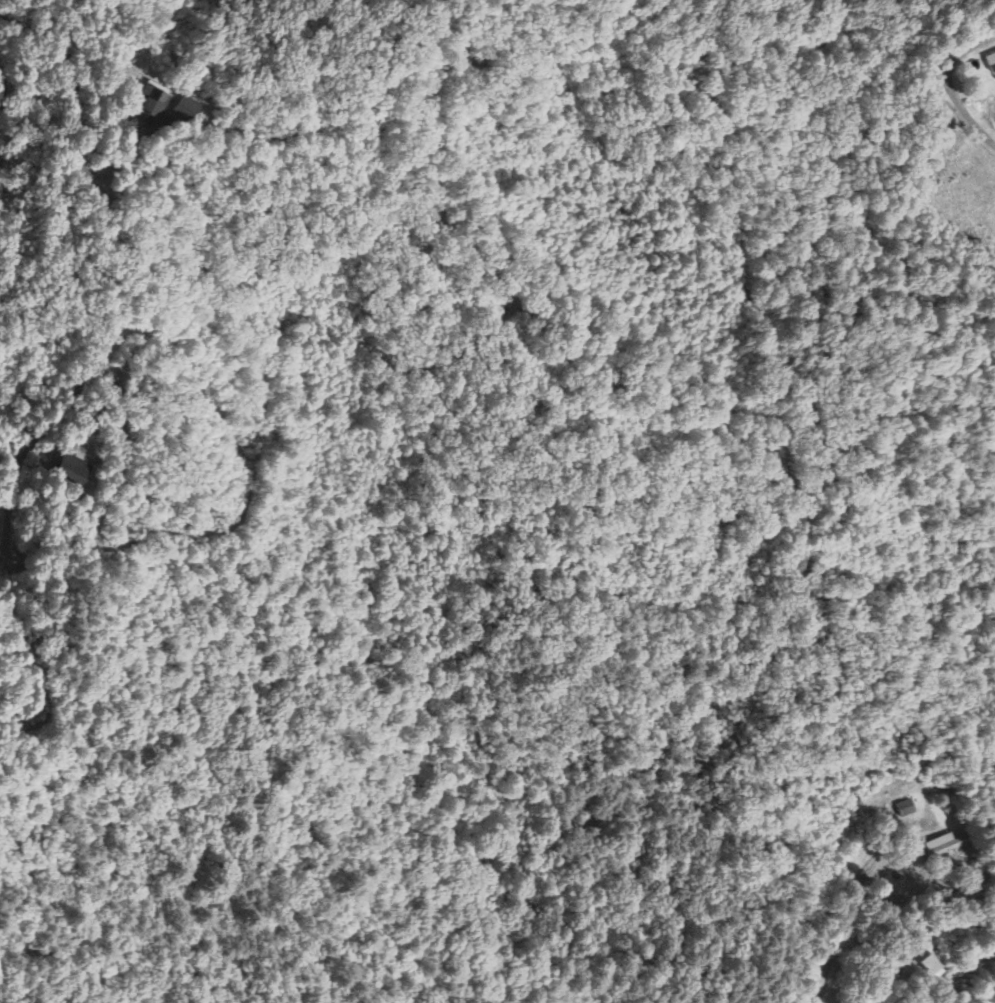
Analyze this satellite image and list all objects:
building: (990, 62)
road: (2, 100)
building: (152, 102)
building: (182, 109)
building: (74, 472)
road: (6, 476)
road: (6, 501)
building: (904, 808)
building: (943, 845)
building: (928, 966)

